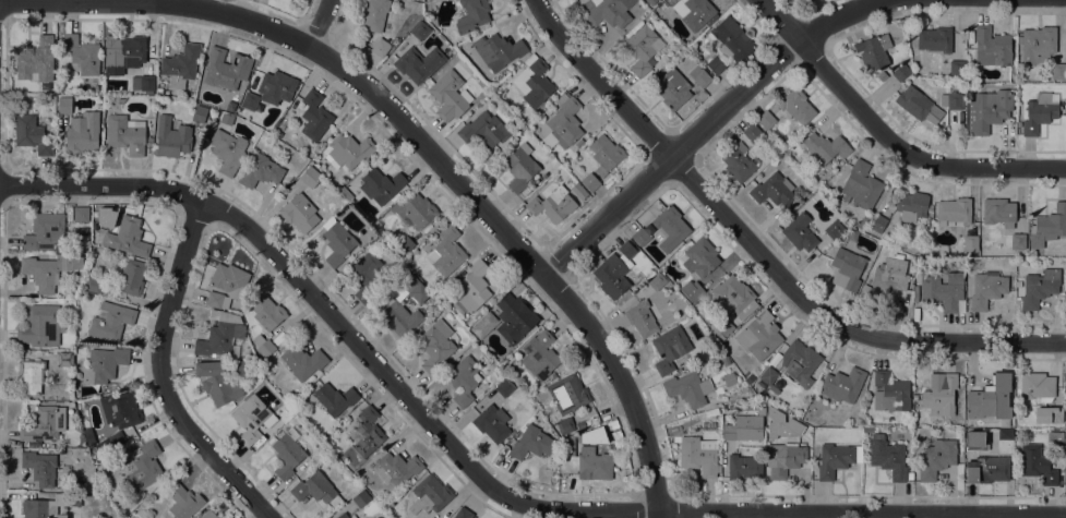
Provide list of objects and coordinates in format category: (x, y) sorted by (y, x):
road: (165, 0)
building: (658, 0)
building: (810, 0)
building: (583, 7)
building: (694, 12)
building: (608, 13)
building: (373, 14)
building: (471, 15)
road: (779, 19)
road: (318, 22)
building: (420, 31)
building: (732, 39)
building: (934, 39)
building: (1037, 45)
building: (380, 47)
building: (992, 47)
road: (313, 49)
building: (640, 49)
building: (130, 50)
building: (498, 50)
building: (874, 51)
building: (1065, 51)
building: (81, 55)
building: (36, 61)
building: (418, 63)
building: (180, 64)
building: (716, 65)
building: (956, 68)
building: (226, 69)
building: (107, 71)
building: (1058, 71)
building: (901, 72)
building: (699, 76)
road: (600, 80)
building: (534, 82)
building: (143, 83)
building: (276, 87)
building: (672, 88)
building: (450, 96)
building: (120, 100)
building: (951, 100)
building: (64, 105)
building: (918, 105)
building: (253, 106)
building: (796, 106)
building: (987, 110)
building: (548, 111)
building: (1040, 112)
building: (199, 113)
building: (314, 116)
building: (226, 118)
building: (766, 120)
building: (564, 121)
road: (706, 122)
building: (483, 130)
building: (82, 133)
building: (752, 133)
building: (32, 134)
building: (125, 134)
building: (277, 134)
building: (171, 137)
building: (149, 140)
building: (578, 143)
building: (825, 147)
building: (227, 150)
building: (348, 152)
road: (908, 153)
building: (604, 154)
building: (738, 162)
building: (520, 167)
building: (260, 171)
building: (310, 177)
building: (589, 181)
building: (381, 184)
building: (861, 185)
building: (824, 189)
building: (578, 191)
building: (774, 191)
building: (552, 204)
building: (912, 205)
building: (416, 209)
building: (954, 210)
building: (998, 212)
building: (299, 213)
building: (80, 214)
building: (863, 222)
building: (878, 224)
building: (1050, 224)
building: (670, 228)
building: (835, 229)
building: (799, 232)
building: (45, 233)
building: (125, 236)
building: (640, 237)
building: (337, 241)
building: (1017, 241)
building: (970, 243)
building: (405, 244)
building: (626, 250)
building: (446, 252)
building: (700, 257)
building: (847, 268)
building: (49, 269)
building: (367, 276)
building: (611, 276)
building: (131, 277)
building: (229, 279)
building: (886, 279)
building: (657, 281)
building: (93, 285)
building: (472, 287)
building: (1039, 287)
building: (986, 289)
building: (692, 290)
building: (943, 290)
building: (734, 297)
building: (217, 299)
building: (381, 303)
building: (394, 306)
building: (267, 312)
building: (514, 317)
building: (643, 317)
building: (109, 321)
road: (835, 321)
building: (483, 325)
building: (41, 326)
building: (722, 329)
building: (219, 336)
building: (759, 336)
building: (263, 346)
building: (435, 346)
building: (669, 349)
building: (539, 354)
building: (64, 359)
building: (724, 359)
building: (303, 362)
building: (800, 362)
building: (104, 364)
building: (243, 366)
building: (31, 376)
road: (161, 376)
building: (768, 378)
building: (463, 380)
building: (216, 382)
road: (623, 385)
building: (842, 385)
building: (1037, 386)
building: (504, 387)
building: (688, 388)
building: (889, 393)
building: (567, 394)
building: (941, 394)
building: (335, 399)
building: (990, 399)
building: (120, 409)
building: (710, 411)
building: (1054, 414)
building: (252, 418)
building: (492, 423)
building: (44, 424)
building: (780, 424)
building: (564, 425)
building: (729, 432)
building: (366, 433)
building: (1055, 437)
building: (975, 441)
building: (531, 443)
building: (567, 446)
building: (61, 450)
building: (287, 454)
building: (698, 455)
building: (887, 457)
building: (936, 458)
building: (786, 459)
building: (836, 459)
building: (566, 463)
building: (594, 463)
building: (1037, 463)
building: (144, 466)
building: (744, 466)
building: (39, 467)
building: (396, 468)
building: (985, 469)
road: (480, 474)
building: (909, 475)
building: (314, 489)
building: (429, 494)
building: (360, 498)
building: (183, 502)
building: (49, 505)
building: (463, 514)
building: (207, 515)
building: (60, 516)
building: (343, 516)
building: (352, 517)

